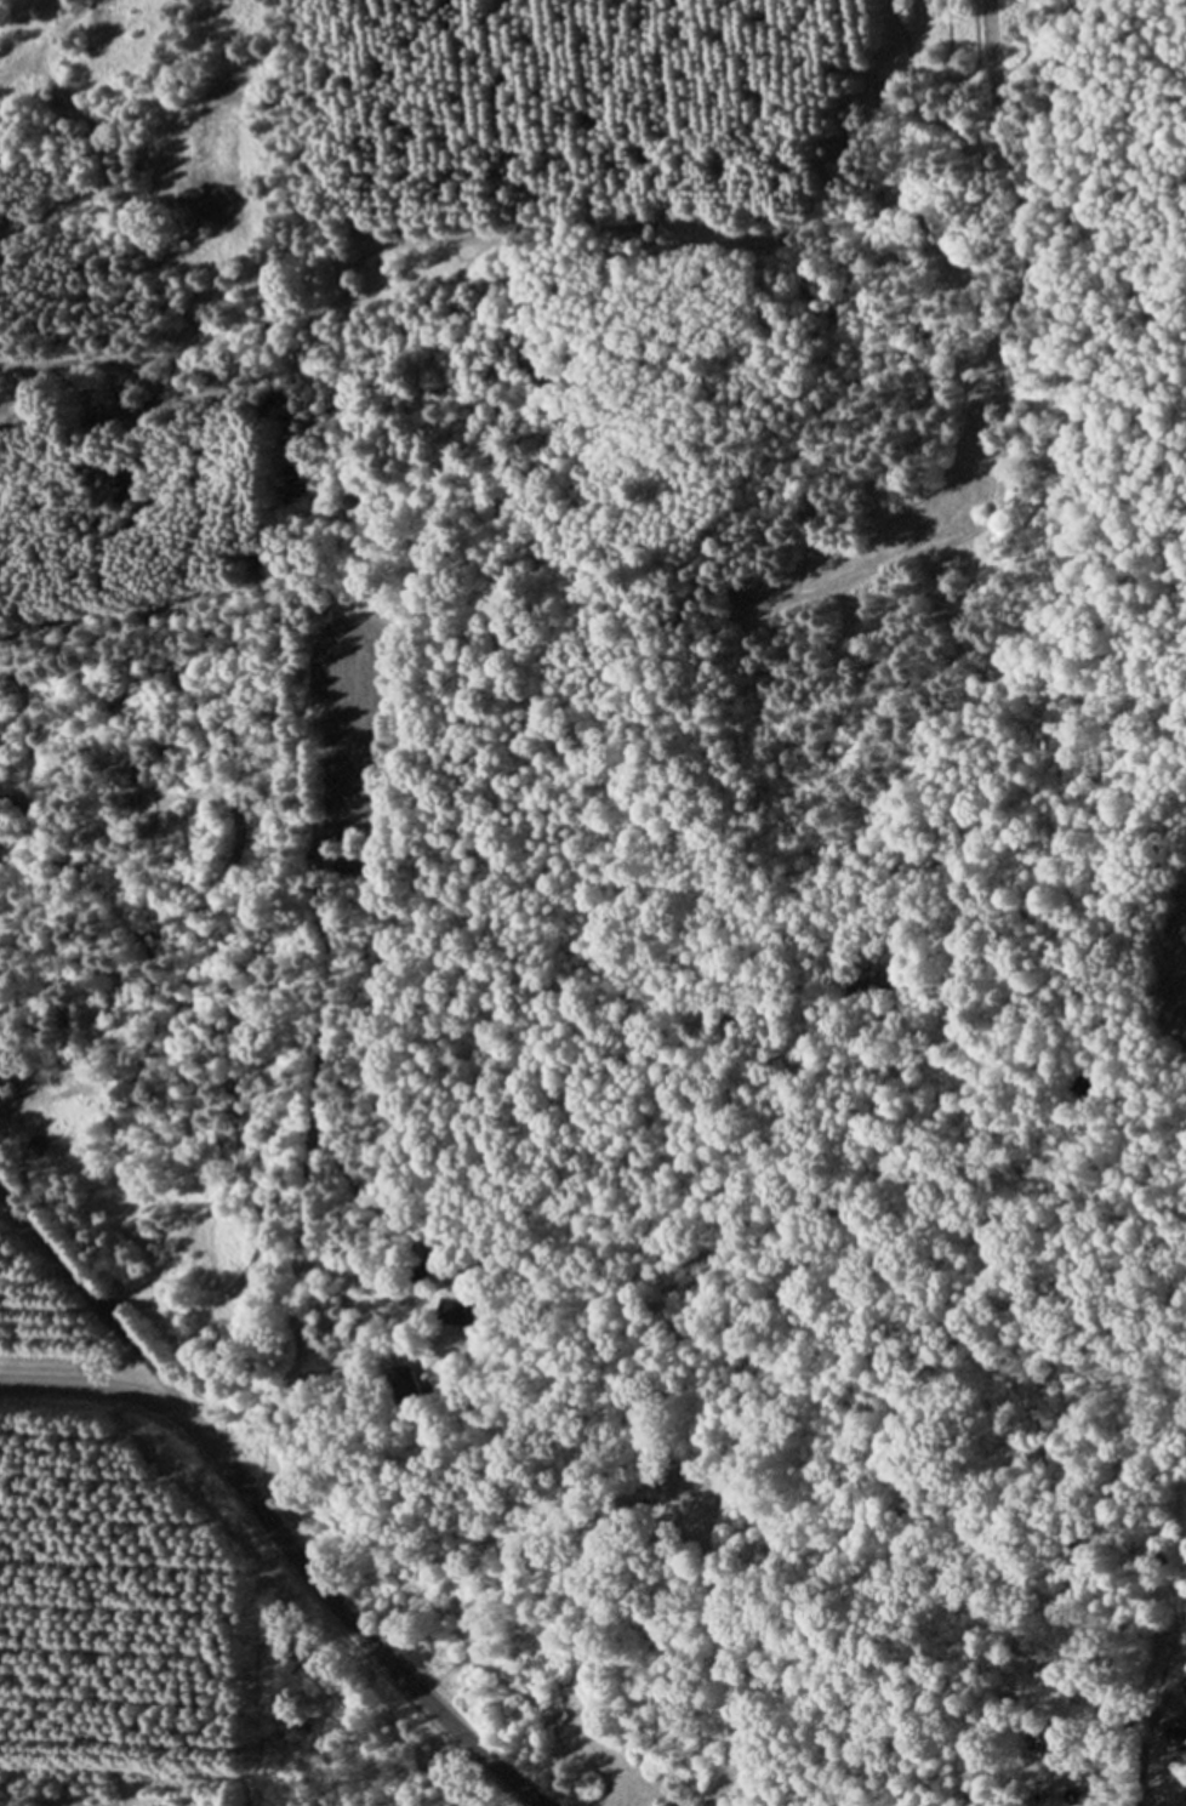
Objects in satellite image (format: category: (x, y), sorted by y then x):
road: (99, 1312)
building: (462, 1314)
building: (405, 1385)
road: (267, 1459)
road: (289, 1550)

